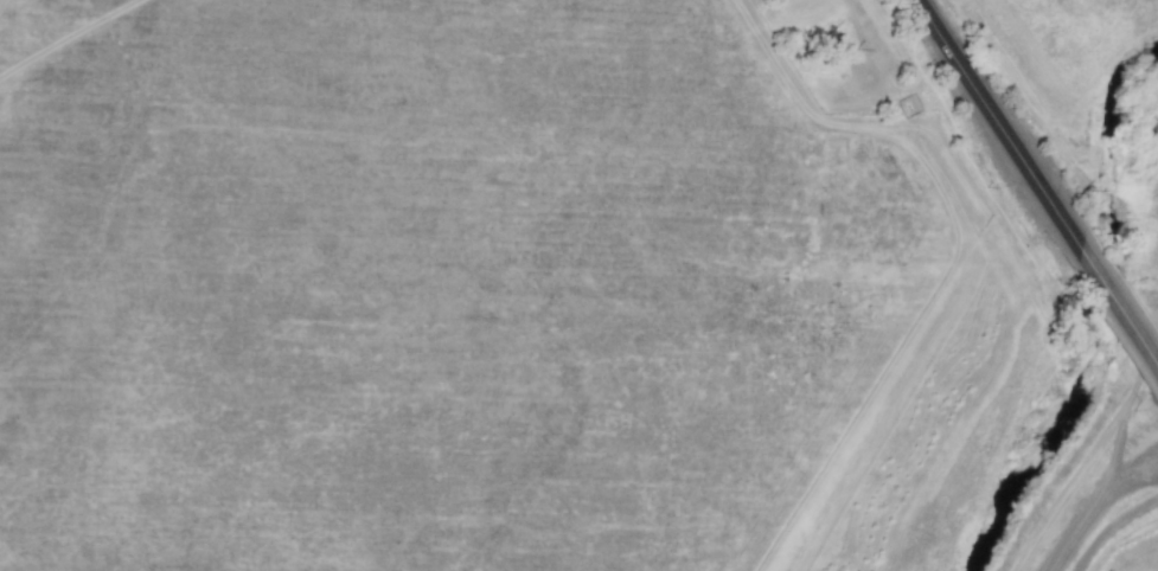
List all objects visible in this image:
road: (998, 120)
crop: (576, 283)
road: (1119, 300)
road: (1130, 410)
road: (1095, 503)

